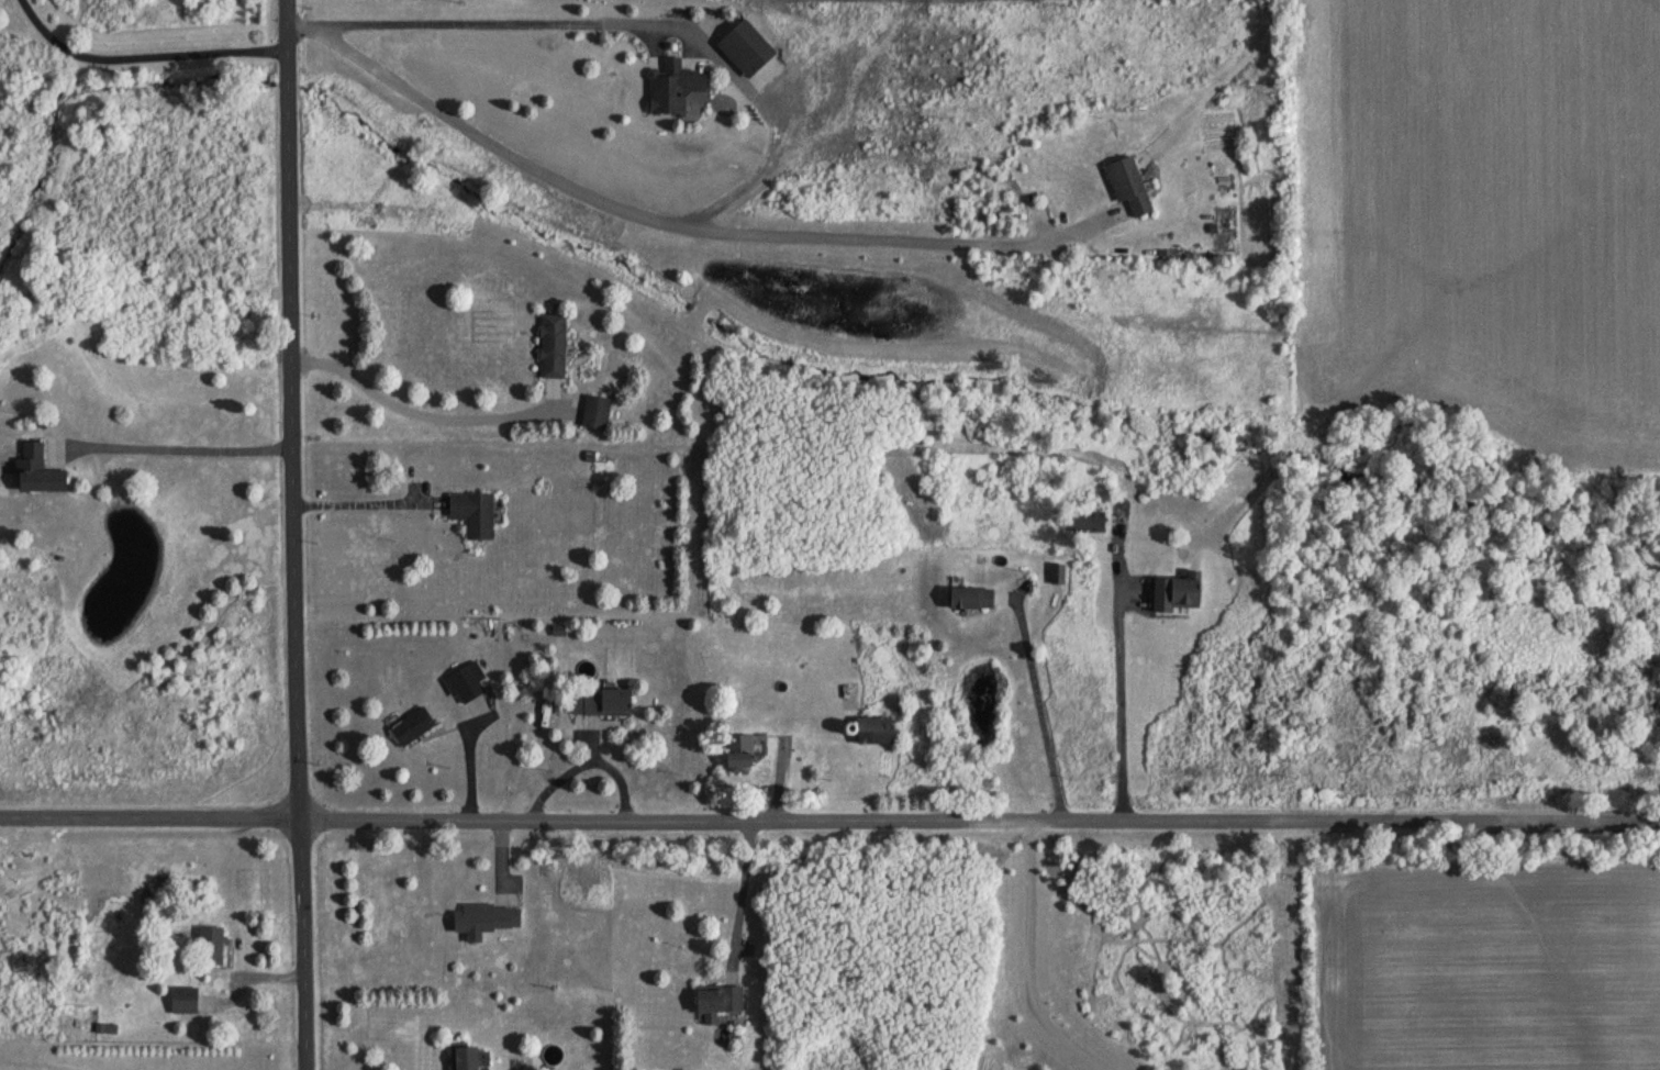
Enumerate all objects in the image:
road: (498, 15)
building: (749, 48)
road: (143, 55)
building: (678, 87)
road: (487, 137)
building: (1125, 183)
road: (902, 244)
building: (555, 345)
road: (414, 411)
building: (599, 412)
road: (183, 449)
building: (43, 471)
road: (365, 497)
building: (476, 513)
building: (1085, 523)
road: (297, 534)
building: (1054, 575)
building: (1172, 593)
building: (967, 598)
building: (464, 686)
road: (1122, 699)
building: (601, 704)
road: (1043, 710)
building: (413, 726)
building: (870, 729)
building: (729, 754)
road: (829, 822)
road: (739, 890)
building: (482, 919)
building: (213, 947)
road: (1028, 961)
building: (186, 1001)
building: (711, 1001)

